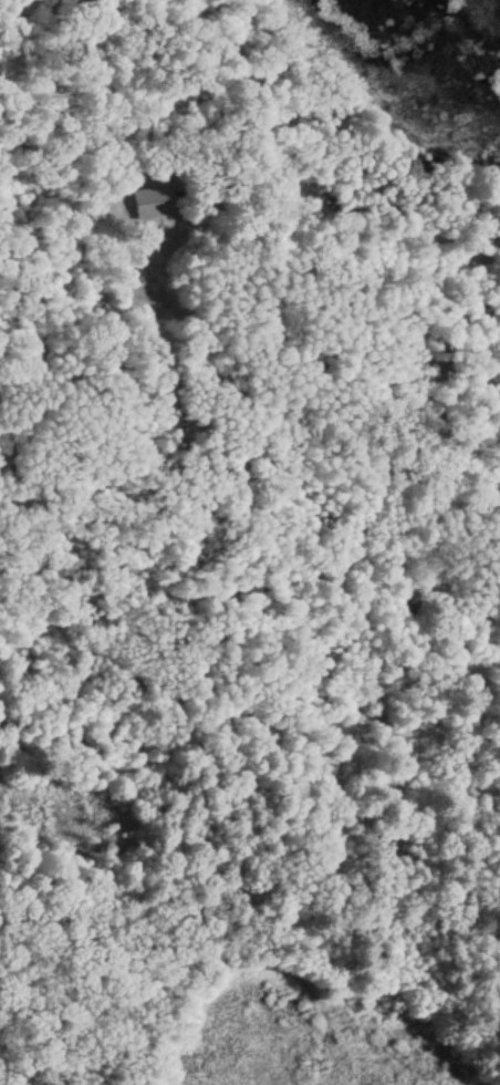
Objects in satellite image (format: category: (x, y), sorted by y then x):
building: (143, 194)

